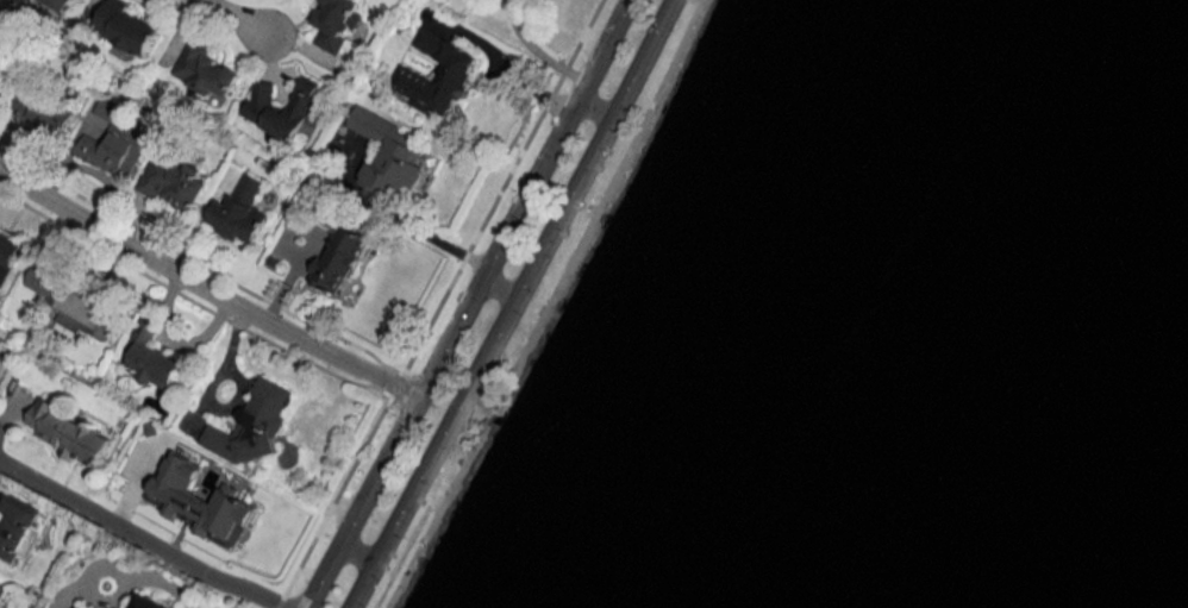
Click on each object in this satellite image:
building: (60, 4)
road: (238, 17)
building: (336, 24)
building: (129, 27)
road: (537, 51)
road: (504, 68)
building: (1, 70)
building: (204, 70)
building: (456, 73)
building: (261, 107)
road: (595, 109)
building: (51, 113)
building: (112, 142)
building: (389, 155)
building: (173, 180)
building: (239, 212)
road: (400, 221)
building: (8, 255)
building: (339, 259)
road: (496, 286)
road: (204, 290)
road: (463, 302)
road: (511, 303)
building: (75, 306)
building: (151, 361)
building: (255, 424)
building: (69, 433)
building: (199, 504)
building: (20, 527)
road: (142, 535)
road: (354, 552)
road: (160, 581)
building: (146, 602)

